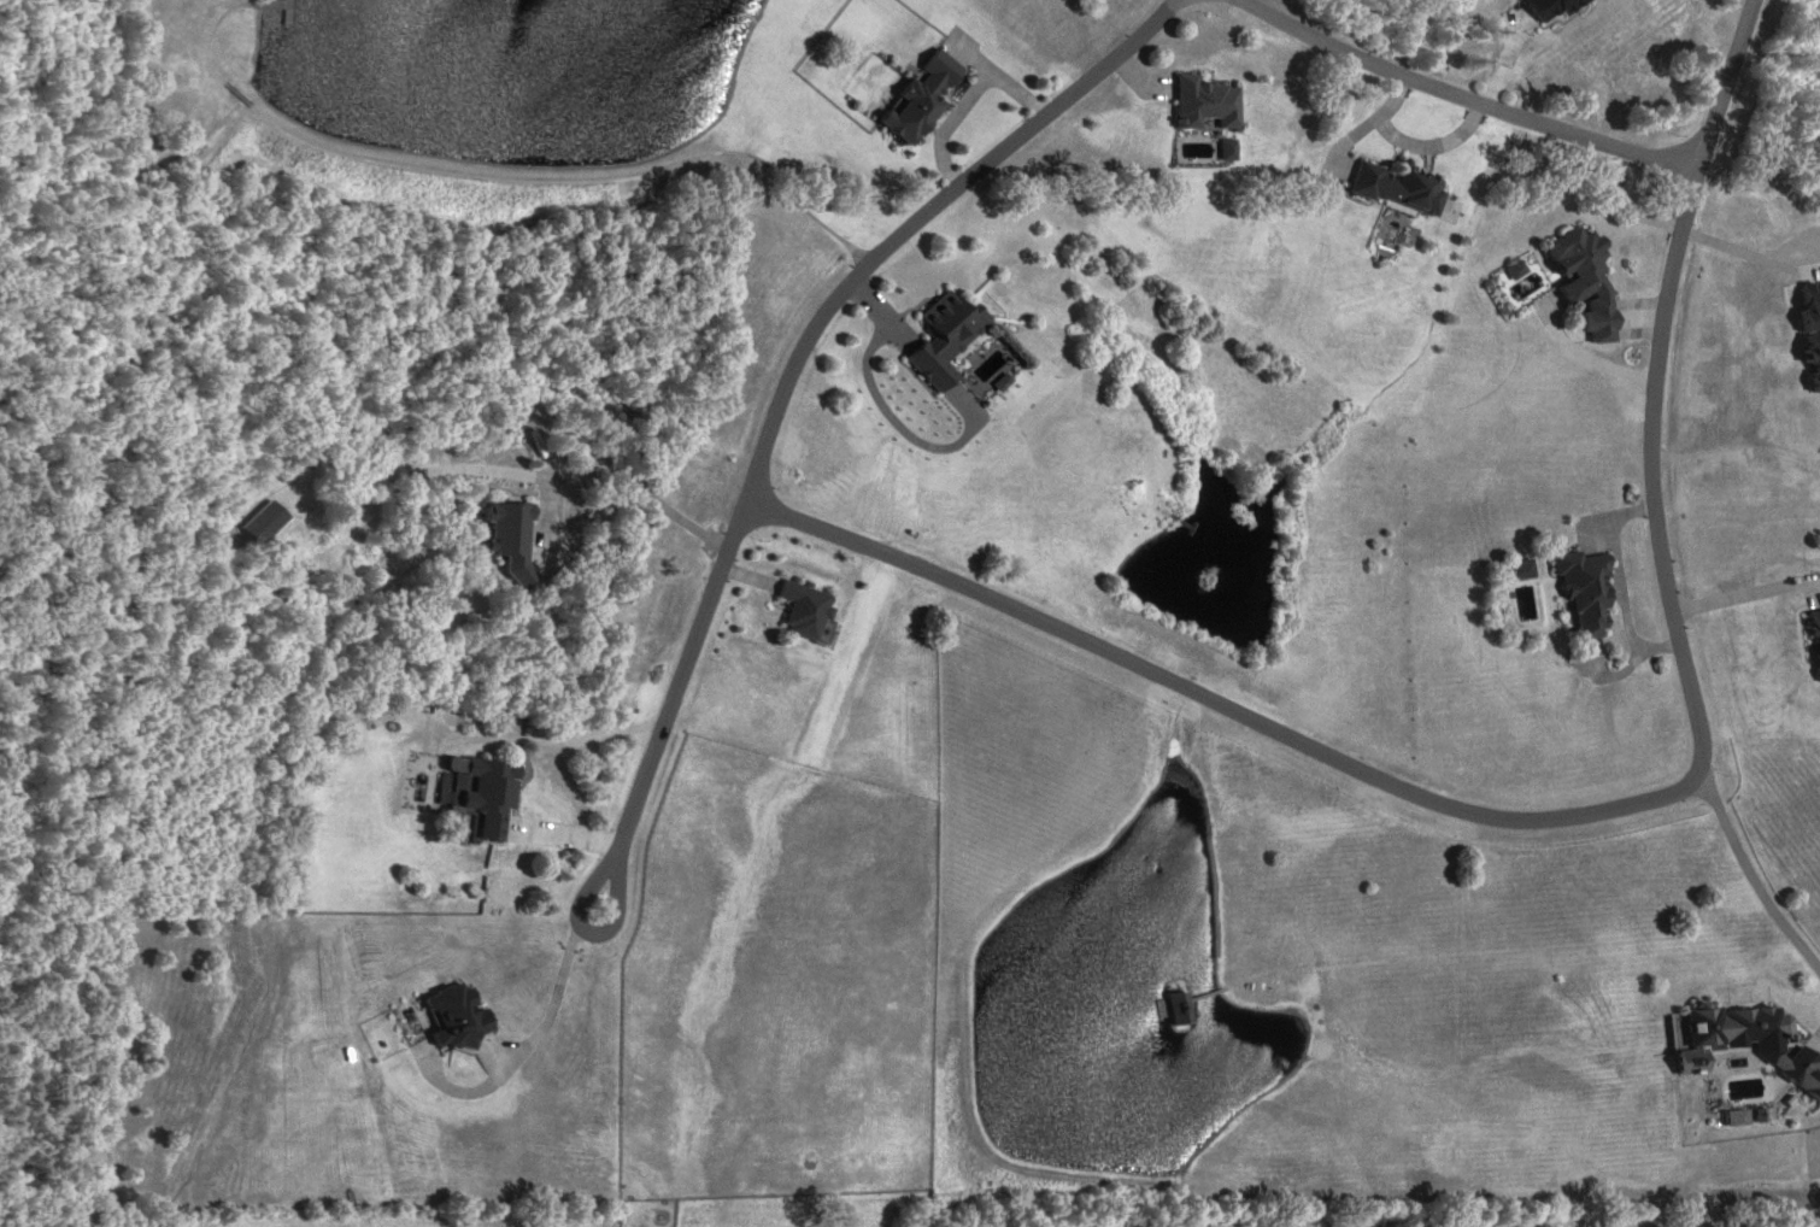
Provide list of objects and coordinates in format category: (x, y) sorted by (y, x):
building: (1566, 7)
road: (1462, 96)
building: (922, 99)
building: (1207, 104)
road: (501, 181)
building: (1401, 186)
building: (1586, 281)
building: (1810, 335)
building: (944, 337)
road: (1654, 388)
road: (522, 476)
road: (748, 494)
building: (265, 522)
building: (512, 540)
building: (1520, 570)
building: (1585, 592)
building: (805, 610)
road: (124, 613)
road: (1220, 709)
building: (489, 794)
road: (1760, 893)
road: (615, 909)
building: (1180, 1009)
building: (456, 1017)
building: (1730, 1033)

